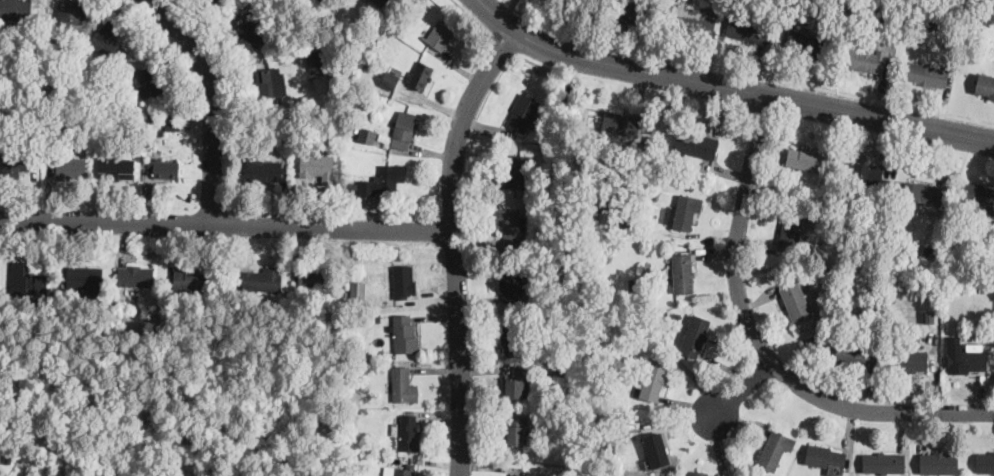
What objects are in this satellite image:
building: (211, 0)
building: (214, 0)
building: (380, 2)
building: (15, 8)
building: (632, 10)
building: (71, 12)
building: (693, 17)
road: (473, 18)
building: (747, 29)
building: (440, 33)
building: (250, 35)
building: (107, 40)
building: (806, 42)
road: (504, 44)
building: (864, 57)
building: (315, 60)
road: (535, 60)
road: (745, 71)
building: (420, 73)
building: (927, 73)
building: (390, 79)
building: (271, 81)
building: (144, 82)
building: (323, 82)
building: (985, 84)
road: (729, 87)
road: (207, 105)
building: (523, 112)
building: (620, 122)
building: (403, 129)
building: (368, 135)
building: (696, 143)
building: (805, 157)
building: (16, 164)
building: (317, 165)
building: (70, 166)
building: (116, 166)
building: (164, 167)
building: (265, 170)
building: (515, 172)
building: (867, 173)
building: (382, 180)
building: (923, 191)
building: (978, 193)
building: (683, 213)
building: (511, 224)
road: (225, 227)
building: (790, 234)
road: (453, 245)
building: (683, 272)
building: (136, 275)
building: (314, 276)
building: (84, 278)
building: (190, 278)
building: (261, 278)
building: (27, 280)
building: (404, 280)
building: (512, 282)
building: (358, 289)
building: (795, 300)
building: (405, 332)
building: (516, 332)
building: (694, 334)
road: (759, 346)
building: (857, 354)
building: (968, 356)
building: (910, 360)
building: (653, 378)
building: (518, 382)
building: (403, 384)
road: (740, 391)
building: (515, 430)
building: (407, 431)
building: (655, 446)
building: (774, 448)
building: (825, 457)
building: (883, 461)
building: (938, 461)
building: (985, 461)
building: (403, 469)
building: (708, 473)
building: (520, 474)

